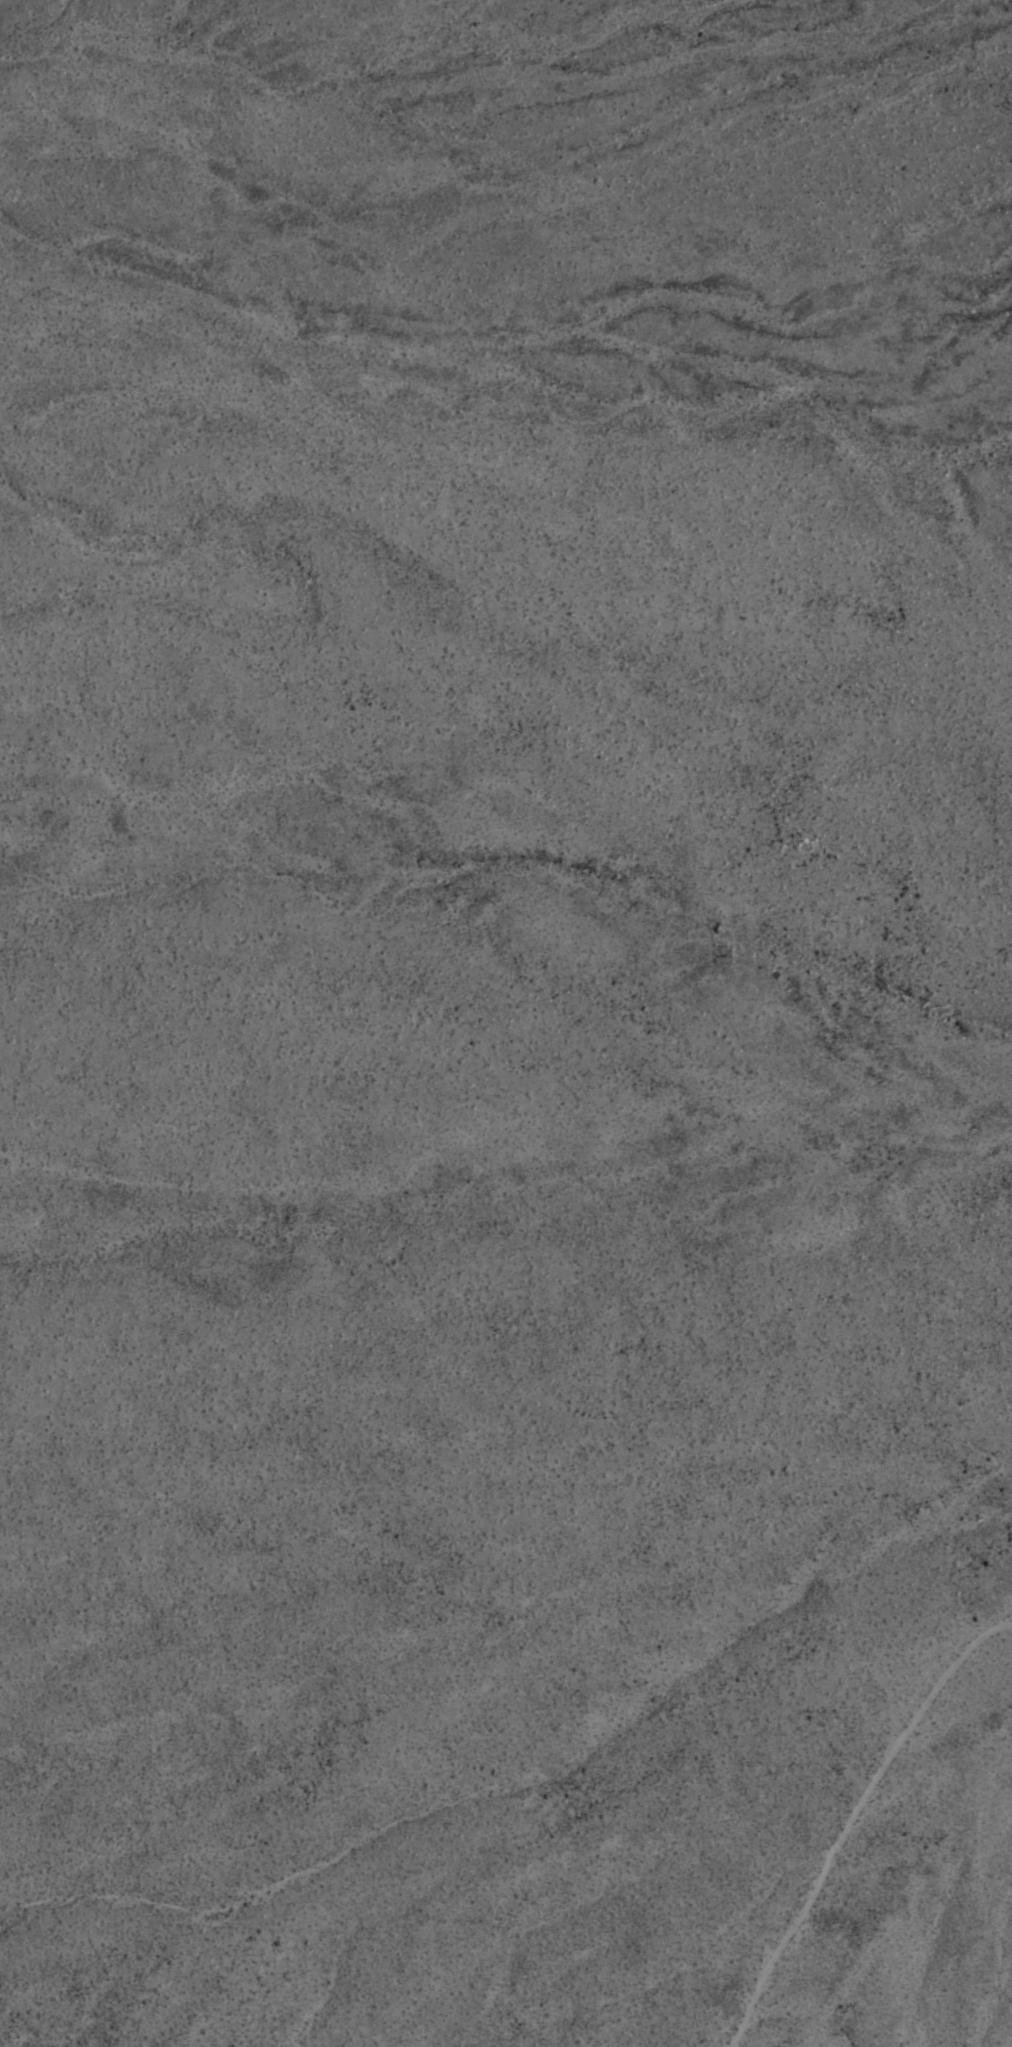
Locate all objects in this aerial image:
road: (850, 1817)

